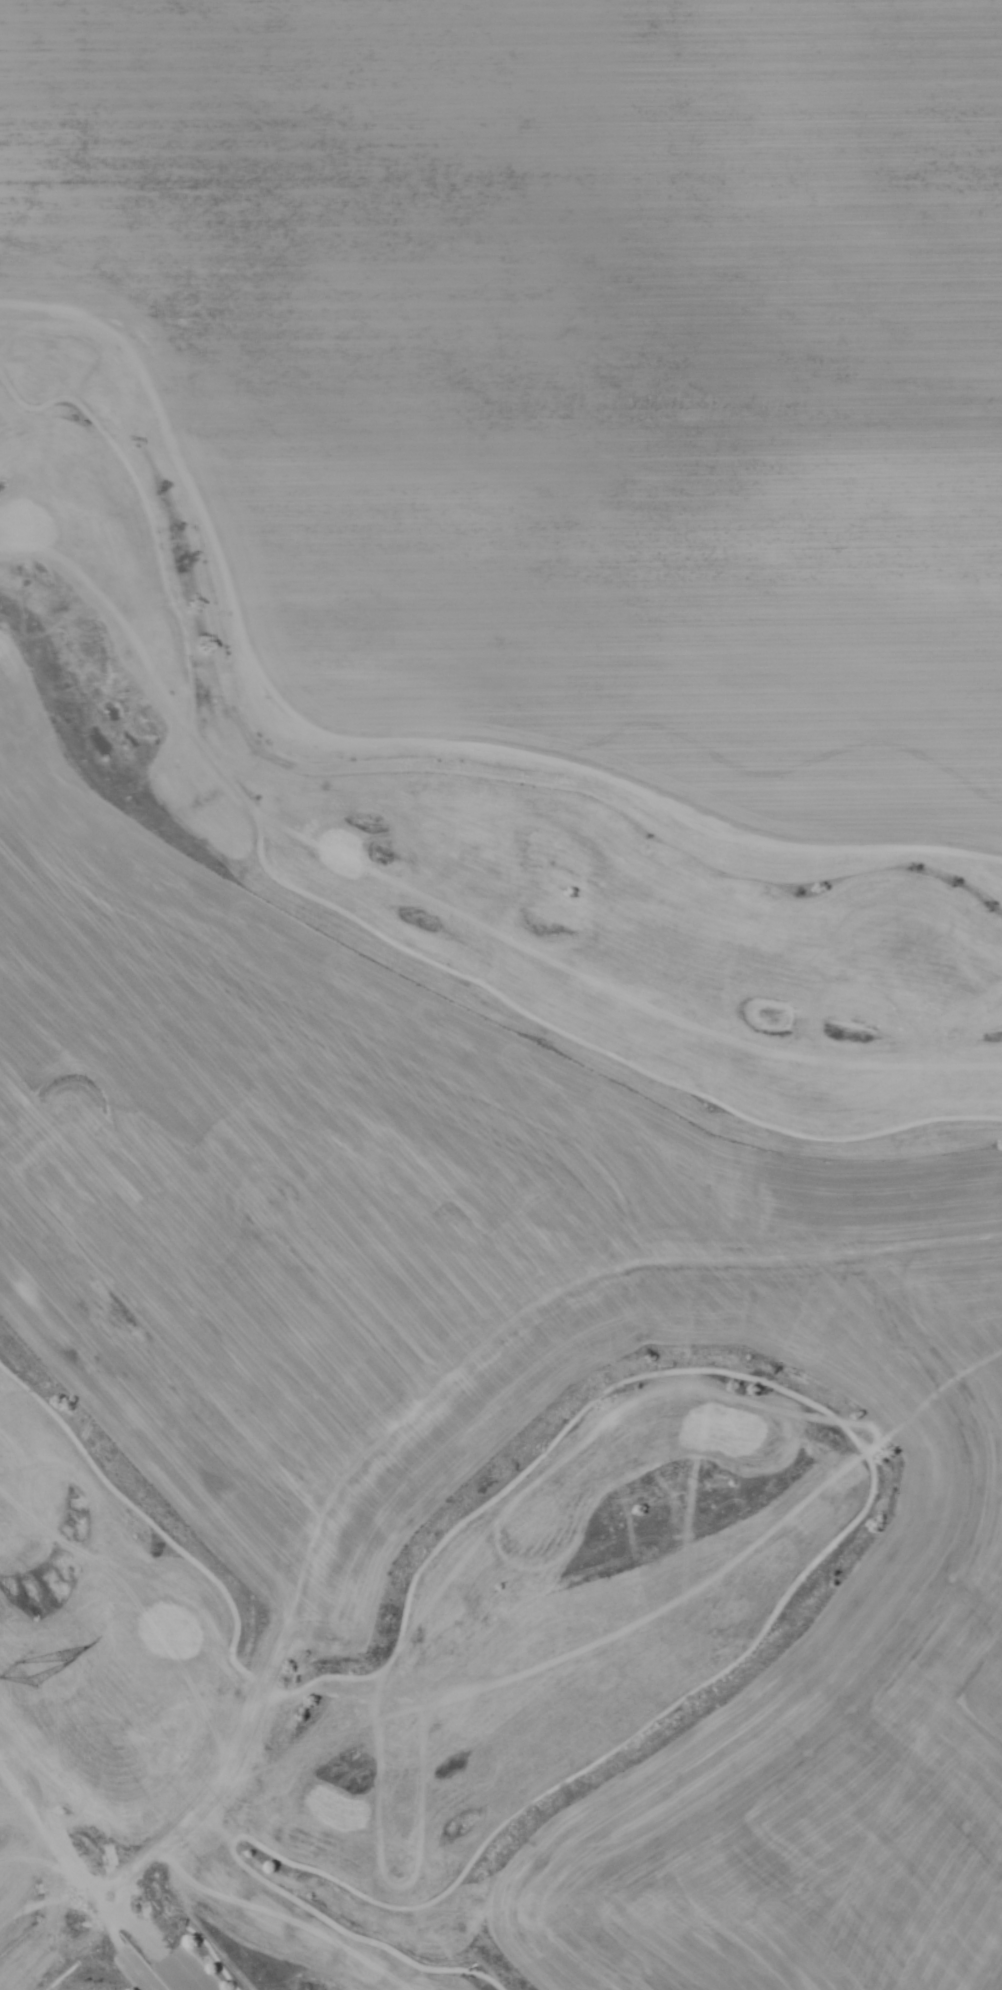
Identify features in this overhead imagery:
power tower: (52, 1669)

